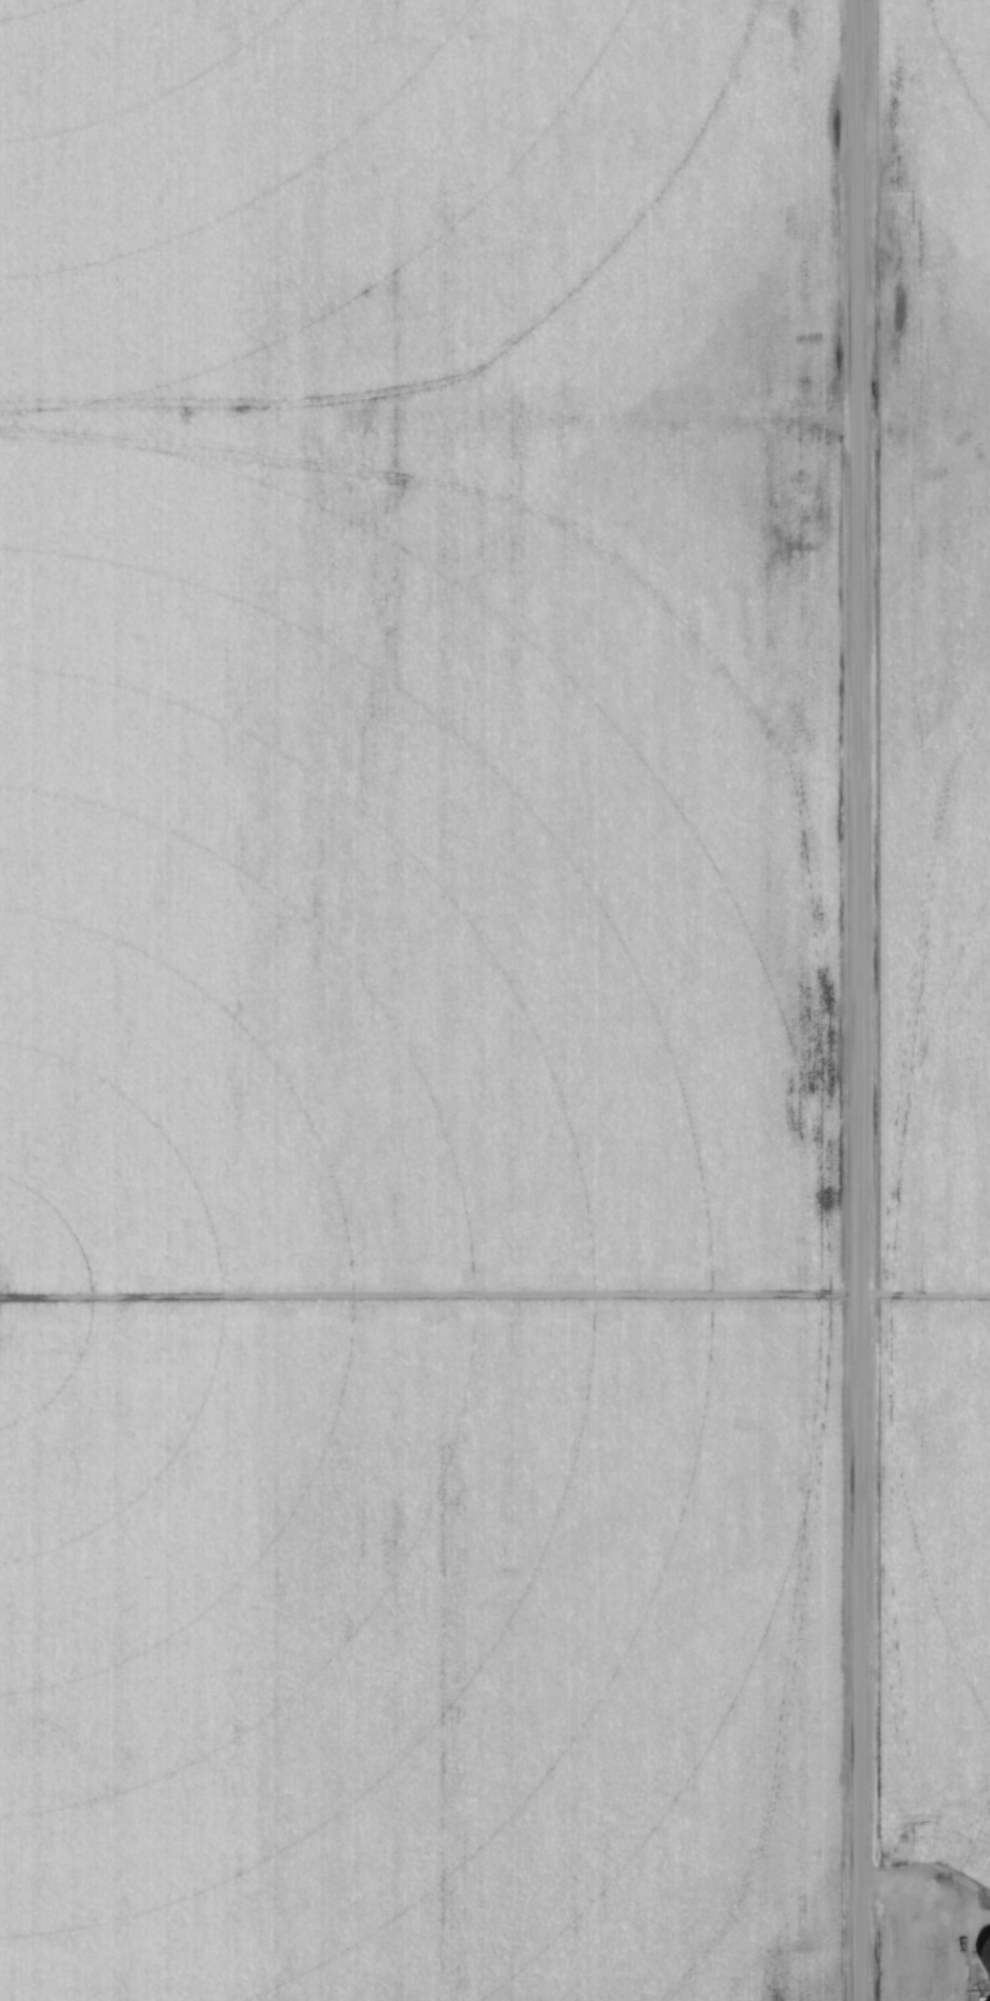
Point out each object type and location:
road: (855, 1000)

